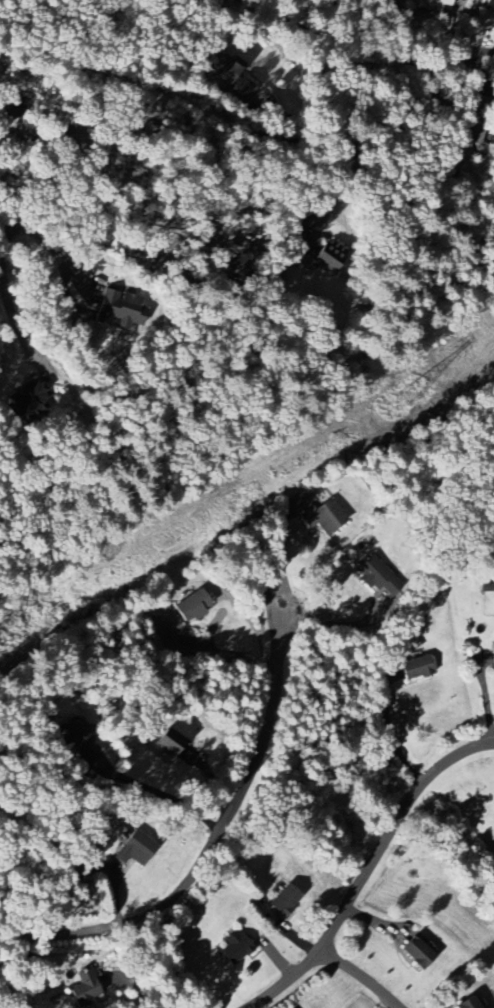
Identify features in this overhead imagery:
building: (430, 3)
road: (397, 49)
building: (232, 79)
road: (343, 143)
road: (44, 242)
building: (321, 251)
road: (5, 295)
building: (118, 308)
power tower: (408, 399)
building: (30, 400)
building: (322, 516)
road: (278, 550)
building: (376, 574)
building: (191, 606)
road: (341, 625)
road: (210, 655)
building: (414, 668)
building: (77, 735)
building: (169, 740)
road: (154, 791)
road: (211, 843)
building: (134, 849)
road: (363, 862)
building: (284, 901)
building: (234, 947)
building: (416, 953)
road: (354, 975)
building: (85, 989)
building: (467, 1003)

